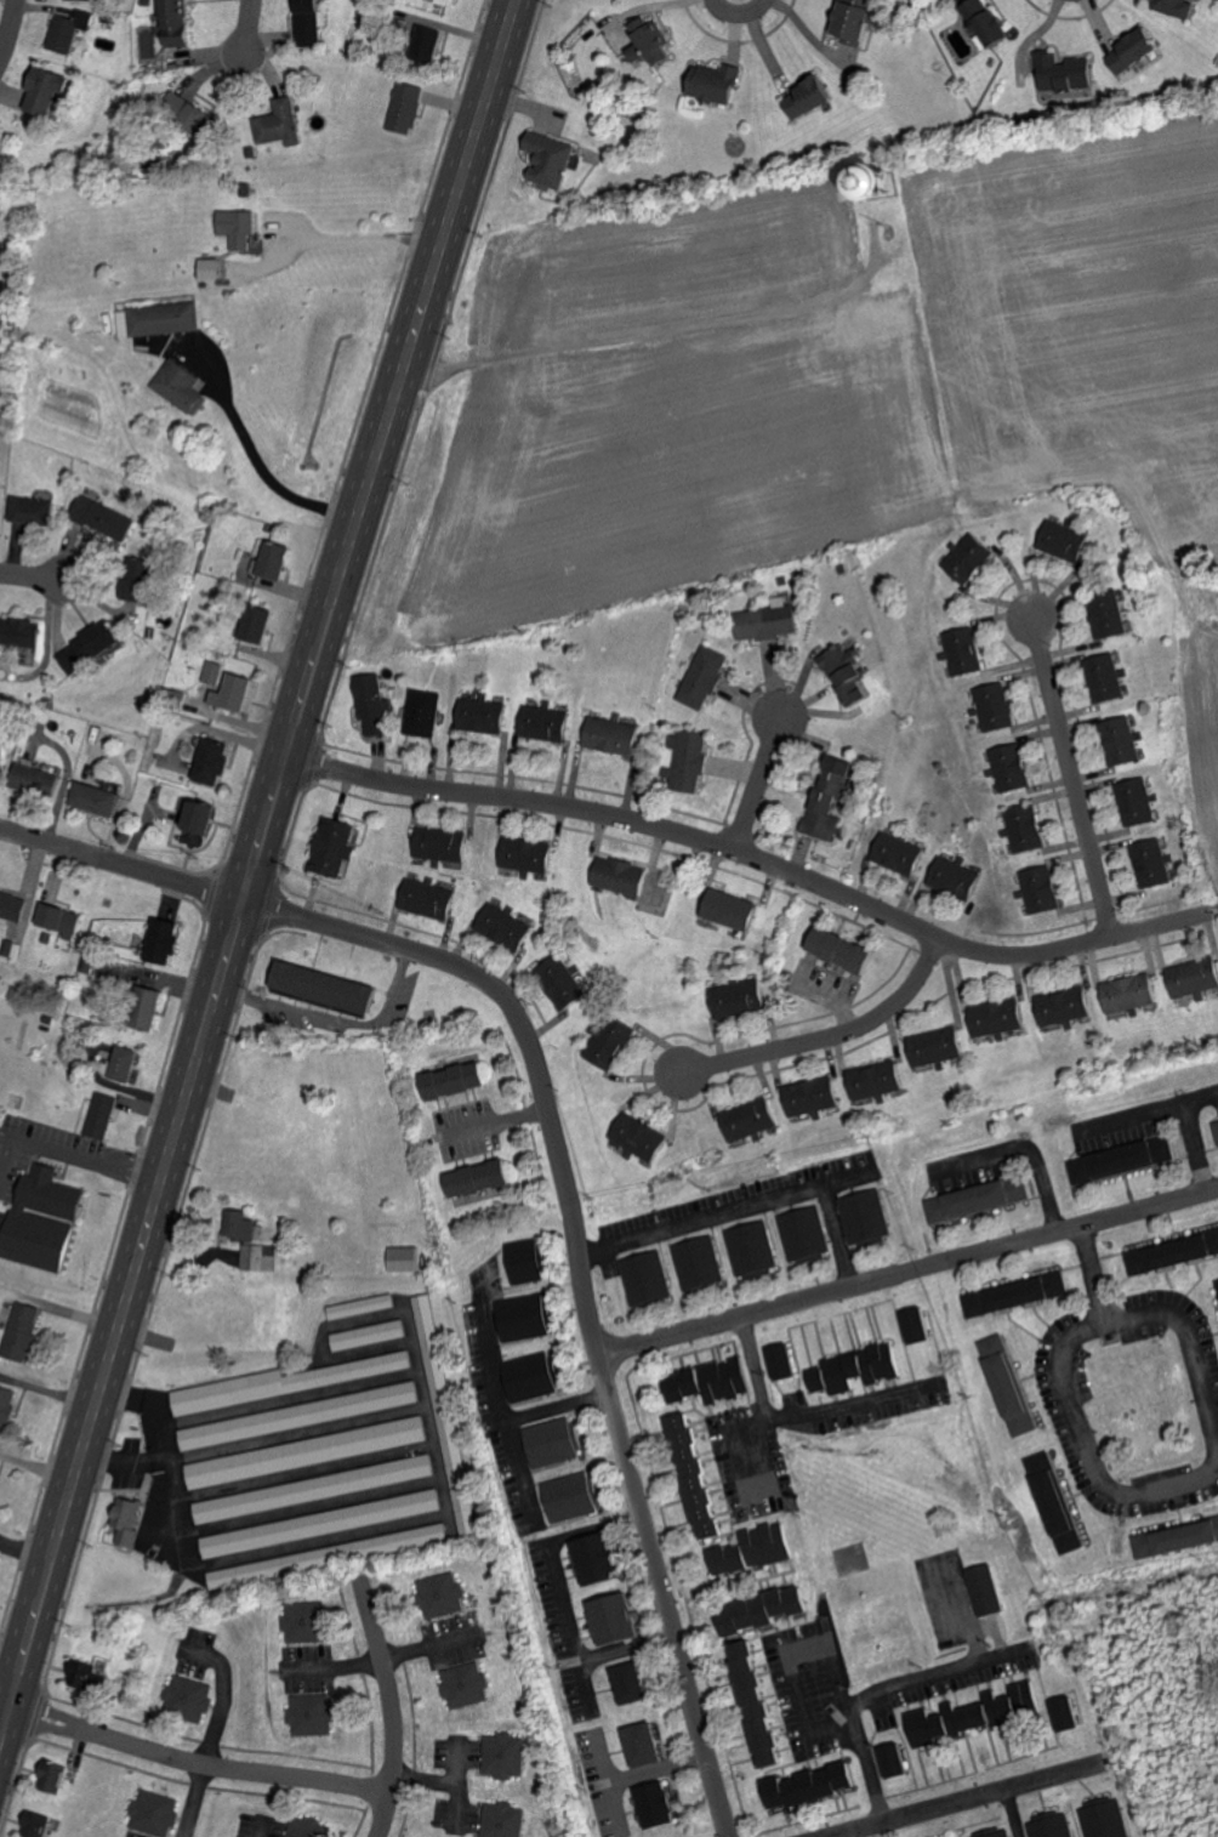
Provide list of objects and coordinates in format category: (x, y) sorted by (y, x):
building: (448, 1)
building: (1172, 5)
road: (738, 19)
building: (861, 19)
road: (6, 22)
building: (308, 22)
building: (177, 23)
building: (990, 24)
building: (69, 29)
road: (245, 35)
building: (650, 41)
building: (428, 42)
building: (1137, 50)
building: (1066, 72)
building: (718, 81)
building: (47, 90)
building: (813, 97)
building: (406, 107)
building: (201, 119)
building: (283, 123)
building: (551, 158)
building: (1, 190)
building: (243, 229)
road: (353, 235)
building: (214, 268)
building: (167, 318)
road: (670, 328)
building: (183, 386)
road: (262, 470)
building: (33, 510)
building: (103, 517)
building: (274, 559)
road: (35, 579)
building: (141, 579)
building: (1112, 615)
building: (768, 620)
building: (256, 624)
building: (22, 632)
building: (89, 647)
building: (966, 650)
building: (211, 672)
building: (848, 675)
building: (702, 678)
building: (1108, 678)
building: (233, 693)
building: (372, 704)
building: (996, 707)
building: (423, 712)
building: (484, 716)
building: (546, 723)
building: (613, 735)
building: (1123, 741)
building: (211, 760)
building: (688, 760)
building: (1, 763)
building: (1012, 767)
building: (36, 780)
road: (1070, 780)
road: (756, 790)
building: (95, 798)
building: (830, 798)
building: (1138, 802)
building: (195, 818)
building: (1026, 827)
building: (334, 848)
building: (528, 854)
building: (898, 854)
road: (247, 860)
building: (1152, 863)
road: (747, 866)
road: (118, 870)
building: (621, 876)
building: (955, 877)
building: (1041, 889)
building: (429, 899)
building: (12, 906)
building: (732, 910)
building: (59, 919)
building: (506, 927)
building: (165, 940)
building: (846, 951)
building: (1195, 977)
building: (563, 983)
building: (328, 988)
building: (1131, 994)
building: (739, 999)
building: (1065, 1006)
building: (147, 1008)
building: (998, 1017)
road: (334, 1019)
building: (610, 1042)
road: (827, 1042)
building: (938, 1047)
building: (127, 1064)
building: (456, 1080)
building: (878, 1080)
building: (813, 1097)
building: (102, 1116)
road: (1126, 1116)
building: (751, 1120)
road: (1186, 1130)
building: (1217, 1131)
building: (641, 1137)
road: (7, 1149)
road: (1023, 1149)
building: (1121, 1158)
road: (84, 1160)
building: (482, 1179)
building: (977, 1198)
road: (725, 1215)
building: (865, 1217)
building: (42, 1218)
building: (241, 1224)
building: (804, 1233)
road: (833, 1239)
building: (752, 1249)
building: (1173, 1252)
building: (260, 1256)
building: (406, 1258)
building: (527, 1259)
building: (699, 1263)
road: (1087, 1263)
road: (910, 1274)
road: (586, 1275)
building: (647, 1278)
building: (1013, 1293)
building: (362, 1306)
road: (58, 1307)
building: (524, 1316)
road: (1186, 1321)
building: (920, 1324)
building: (23, 1330)
building: (369, 1335)
building: (785, 1360)
building: (858, 1367)
building: (531, 1376)
building: (712, 1380)
building: (286, 1381)
building: (1009, 1383)
road: (496, 1398)
road: (850, 1403)
road: (558, 1405)
building: (7, 1406)
road: (765, 1414)
building: (300, 1415)
building: (448, 1418)
building: (556, 1440)
road: (1085, 1446)
building: (307, 1451)
building: (698, 1473)
building: (314, 1488)
building: (574, 1496)
building: (1057, 1501)
building: (129, 1519)
building: (321, 1523)
building: (1177, 1537)
building: (758, 1548)
building: (314, 1558)
building: (599, 1558)
road: (556, 1577)
building: (990, 1588)
building: (444, 1593)
building: (765, 1608)
road: (964, 1615)
building: (617, 1617)
building: (308, 1621)
road: (626, 1648)
road: (790, 1661)
building: (87, 1672)
building: (632, 1682)
building: (468, 1684)
road: (876, 1691)
road: (220, 1695)
building: (188, 1696)
building: (1024, 1699)
building: (758, 1702)
road: (394, 1712)
building: (1070, 1713)
building: (313, 1714)
building: (956, 1718)
building: (645, 1744)
building: (506, 1754)
building: (898, 1759)
road: (195, 1761)
road: (658, 1769)
building: (52, 1775)
road: (604, 1779)
road: (192, 1799)
road: (957, 1799)
building: (659, 1804)
building: (154, 1812)
road: (1013, 1812)
building: (505, 1819)
building: (1108, 1819)
building: (33, 1822)
building: (1053, 1825)
building: (309, 1827)
road: (261, 1829)
building: (998, 1833)

